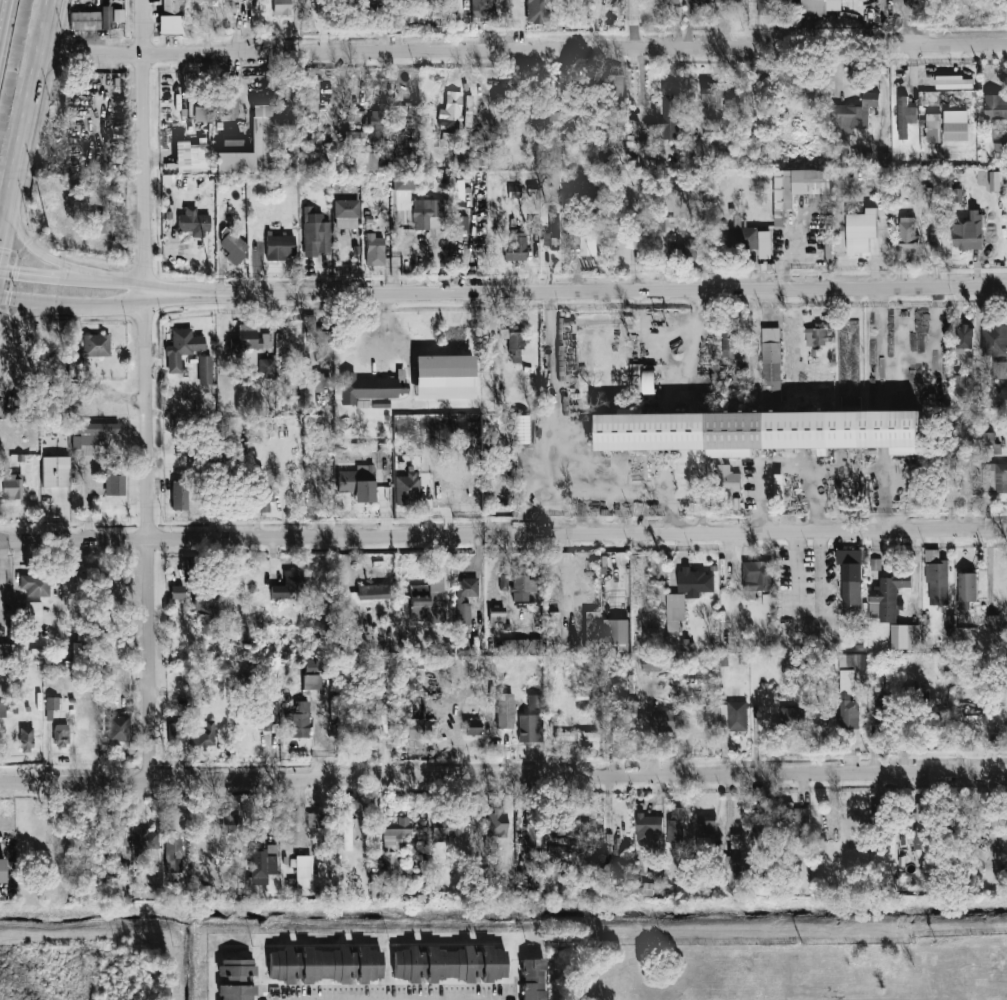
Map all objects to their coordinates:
building: (726, 0)
building: (670, 1)
building: (700, 1)
building: (580, 2)
building: (420, 5)
building: (774, 5)
building: (281, 7)
building: (819, 7)
building: (483, 9)
building: (537, 11)
building: (171, 17)
building: (91, 20)
road: (523, 50)
building: (953, 82)
building: (617, 90)
building: (712, 97)
building: (996, 106)
building: (450, 111)
building: (285, 112)
building: (203, 114)
building: (669, 115)
building: (548, 116)
building: (358, 117)
building: (905, 117)
building: (852, 118)
road: (27, 120)
building: (378, 125)
building: (955, 125)
building: (933, 127)
building: (448, 138)
building: (232, 139)
building: (1000, 141)
building: (256, 150)
building: (331, 156)
building: (190, 157)
building: (468, 158)
building: (883, 158)
building: (366, 161)
building: (995, 181)
building: (798, 187)
building: (513, 190)
building: (957, 195)
road: (5, 205)
building: (346, 214)
building: (428, 214)
building: (194, 222)
building: (98, 224)
building: (459, 224)
building: (534, 228)
building: (861, 231)
building: (968, 231)
building: (908, 232)
building: (315, 233)
building: (552, 233)
building: (745, 237)
building: (588, 245)
building: (279, 246)
building: (516, 246)
building: (233, 247)
road: (34, 248)
building: (684, 249)
building: (374, 250)
building: (644, 250)
traffic signals: (20, 271)
road: (41, 272)
road: (116, 277)
road: (576, 291)
road: (74, 304)
road: (25, 313)
building: (817, 336)
building: (965, 337)
building: (252, 338)
building: (994, 339)
building: (730, 341)
building: (515, 343)
building: (94, 346)
building: (323, 346)
building: (182, 349)
building: (771, 365)
building: (266, 368)
building: (1000, 369)
building: (205, 370)
building: (444, 377)
building: (649, 382)
building: (320, 383)
building: (959, 384)
building: (370, 387)
road: (146, 388)
building: (295, 403)
building: (380, 403)
building: (758, 431)
building: (92, 433)
building: (988, 438)
road: (822, 468)
building: (55, 471)
building: (994, 478)
building: (727, 479)
building: (114, 483)
building: (358, 483)
building: (11, 486)
road: (602, 487)
building: (410, 488)
building: (178, 489)
road: (87, 498)
building: (264, 499)
road: (815, 499)
road: (621, 509)
road: (583, 510)
road: (503, 534)
road: (808, 555)
building: (875, 564)
building: (757, 575)
building: (850, 576)
building: (937, 580)
building: (695, 582)
building: (521, 583)
building: (35, 585)
building: (290, 585)
building: (967, 589)
building: (177, 592)
building: (375, 592)
building: (887, 597)
building: (465, 599)
parking lot: (807, 599)
building: (427, 601)
building: (33, 608)
building: (205, 611)
building: (675, 611)
building: (496, 615)
building: (592, 625)
building: (239, 631)
building: (552, 632)
building: (615, 636)
building: (905, 636)
building: (687, 645)
building: (520, 646)
building: (6, 651)
building: (653, 664)
building: (313, 666)
building: (788, 667)
building: (311, 682)
building: (849, 689)
building: (534, 701)
building: (51, 706)
building: (2, 709)
building: (505, 710)
building: (880, 710)
building: (734, 717)
building: (792, 717)
building: (300, 720)
building: (666, 720)
building: (264, 722)
building: (364, 725)
building: (611, 725)
building: (472, 727)
building: (118, 728)
building: (530, 728)
building: (420, 729)
building: (176, 734)
building: (203, 734)
building: (61, 735)
building: (576, 737)
building: (26, 739)
road: (503, 773)
building: (314, 820)
building: (230, 823)
building: (797, 823)
building: (497, 824)
building: (675, 825)
building: (920, 826)
building: (347, 830)
building: (451, 830)
building: (648, 830)
building: (764, 830)
building: (119, 831)
building: (707, 832)
building: (396, 834)
building: (533, 836)
building: (146, 839)
building: (557, 852)
building: (739, 854)
building: (173, 855)
building: (261, 866)
building: (620, 868)
building: (1, 870)
building: (303, 871)
building: (376, 884)
building: (112, 888)
building: (648, 889)
building: (324, 964)
building: (450, 964)
road: (995, 966)
building: (798, 973)
building: (236, 979)
building: (533, 979)
building: (951, 983)
road: (408, 998)

